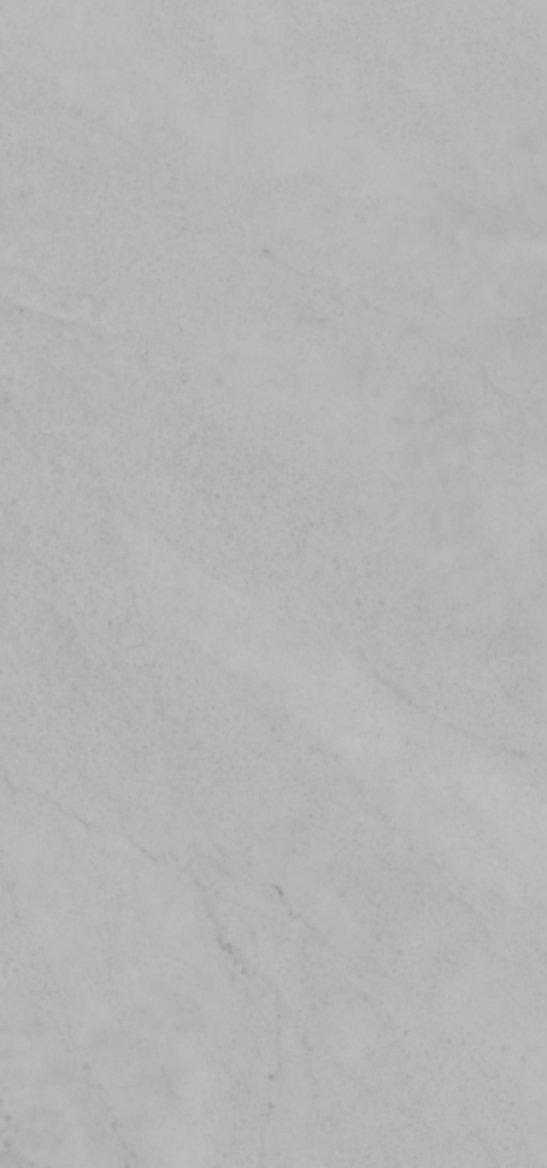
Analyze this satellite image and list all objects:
road: (475, 1006)

